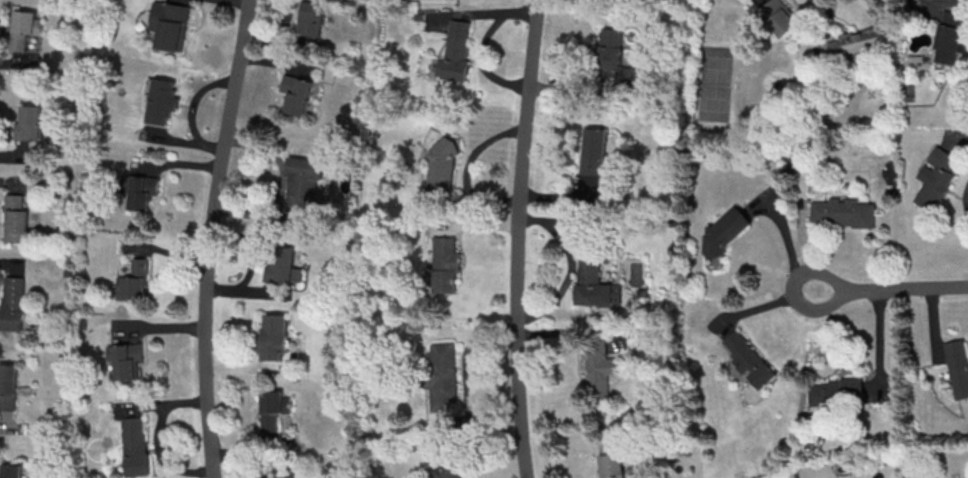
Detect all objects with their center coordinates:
building: (313, 18)
building: (779, 18)
building: (170, 24)
building: (24, 28)
building: (951, 38)
building: (858, 45)
building: (457, 50)
building: (610, 51)
building: (298, 94)
building: (164, 102)
building: (29, 124)
building: (595, 152)
building: (443, 172)
building: (938, 177)
building: (304, 184)
building: (140, 192)
building: (844, 213)
building: (15, 219)
building: (726, 232)
road: (207, 237)
road: (514, 238)
building: (446, 265)
building: (285, 266)
building: (591, 275)
building: (135, 282)
road: (887, 287)
building: (10, 303)
building: (276, 337)
building: (125, 359)
building: (749, 360)
building: (958, 368)
building: (600, 369)
building: (443, 378)
building: (7, 387)
building: (837, 392)
building: (275, 410)
building: (136, 447)
building: (613, 460)
building: (450, 470)
building: (11, 471)
building: (288, 476)

